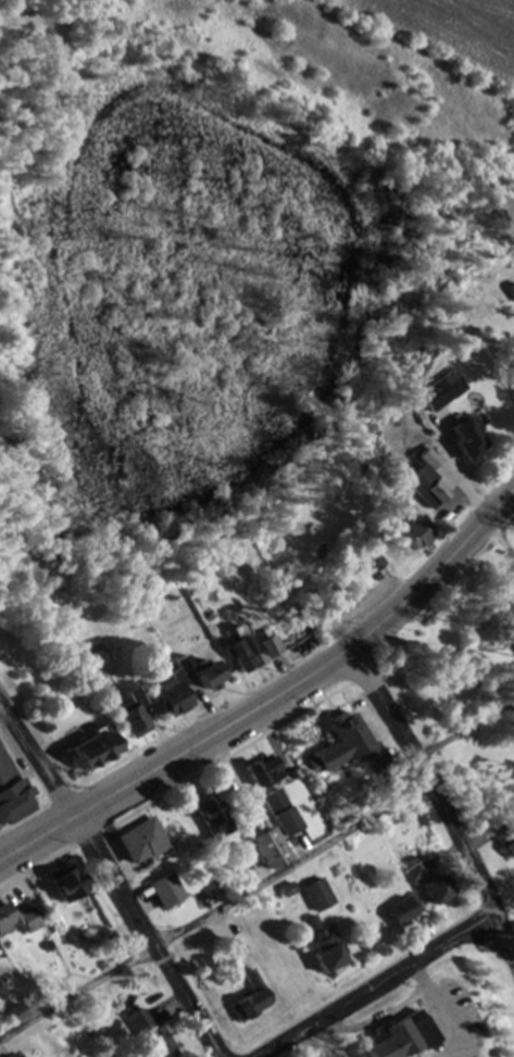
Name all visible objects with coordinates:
building: (512, 355)
building: (435, 391)
building: (461, 440)
building: (425, 493)
building: (406, 534)
building: (331, 604)
building: (510, 640)
building: (248, 652)
road: (310, 672)
building: (162, 689)
building: (130, 718)
building: (336, 745)
building: (90, 752)
road: (36, 762)
building: (256, 771)
building: (10, 793)
road: (436, 800)
building: (276, 815)
building: (205, 818)
road: (36, 839)
building: (136, 843)
building: (264, 851)
building: (62, 884)
building: (437, 891)
building: (162, 892)
building: (312, 896)
building: (397, 914)
building: (18, 921)
road: (215, 923)
building: (312, 934)
road: (143, 935)
building: (319, 956)
road: (376, 986)
building: (246, 999)
building: (12, 1016)
building: (147, 1034)
building: (393, 1040)
building: (11, 1055)

